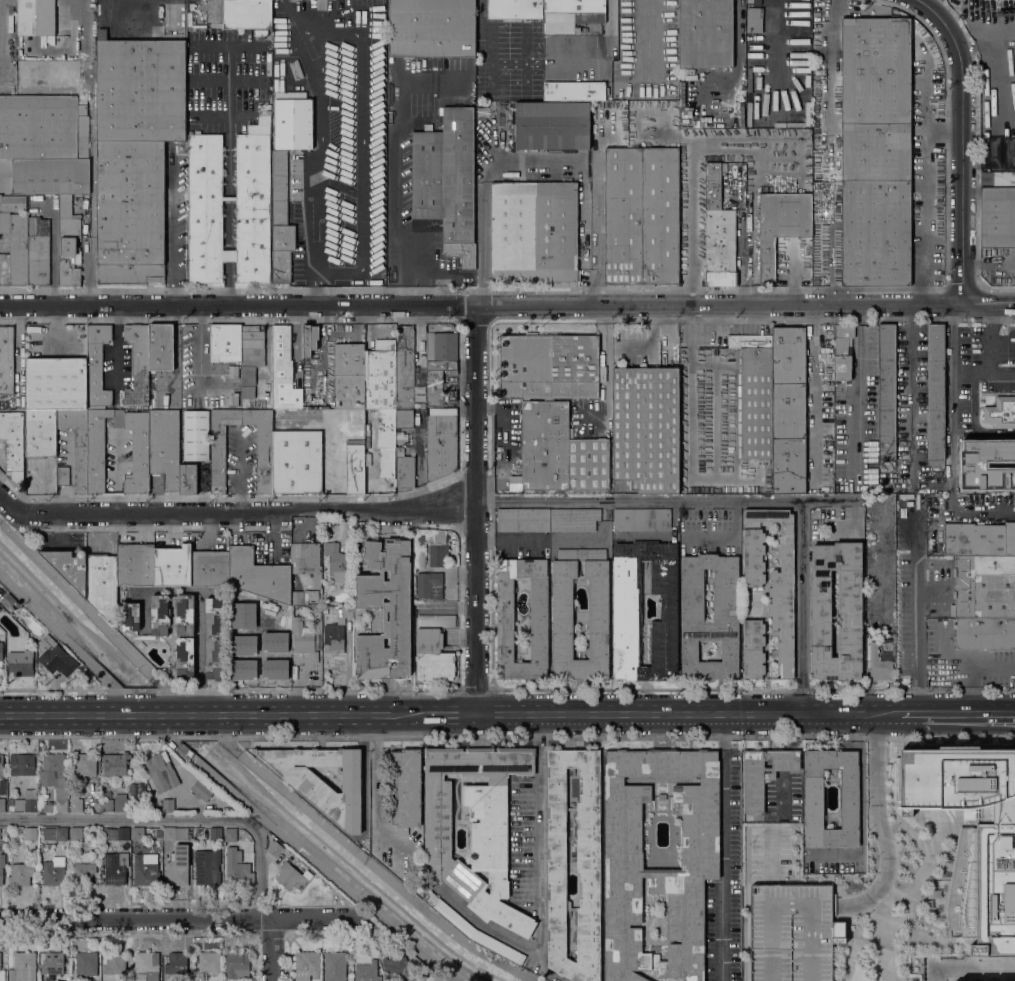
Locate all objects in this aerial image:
building: (754, 2)
building: (514, 9)
building: (247, 14)
building: (572, 15)
building: (36, 17)
building: (754, 20)
building: (431, 28)
building: (260, 32)
building: (705, 34)
road: (831, 65)
building: (294, 69)
road: (989, 87)
building: (575, 91)
building: (290, 95)
building: (293, 124)
building: (552, 125)
road: (364, 129)
building: (46, 143)
road: (960, 144)
road: (320, 145)
road: (89, 152)
building: (875, 152)
building: (135, 153)
road: (1003, 159)
road: (976, 161)
road: (530, 171)
building: (998, 179)
building: (447, 181)
building: (253, 192)
building: (12, 203)
road: (689, 209)
road: (597, 212)
building: (641, 216)
building: (998, 216)
building: (280, 220)
road: (174, 224)
building: (780, 227)
building: (535, 232)
building: (718, 233)
building: (68, 243)
building: (15, 245)
building: (38, 251)
road: (315, 288)
road: (1008, 302)
road: (981, 303)
road: (480, 304)
road: (989, 336)
building: (309, 339)
building: (226, 343)
road: (116, 345)
road: (199, 345)
building: (251, 352)
building: (843, 352)
road: (17, 353)
building: (6, 359)
building: (439, 363)
building: (137, 365)
building: (550, 366)
building: (405, 369)
road: (982, 370)
building: (283, 371)
building: (349, 376)
building: (248, 392)
building: (886, 392)
road: (998, 392)
building: (935, 393)
building: (755, 395)
building: (382, 400)
building: (72, 409)
building: (788, 410)
building: (442, 411)
building: (1001, 412)
building: (404, 419)
road: (974, 419)
building: (154, 423)
building: (645, 427)
building: (196, 435)
road: (335, 435)
building: (402, 438)
building: (13, 442)
building: (440, 446)
building: (559, 451)
building: (297, 461)
building: (264, 462)
building: (355, 469)
building: (404, 469)
road: (114, 473)
road: (240, 473)
building: (63, 475)
building: (188, 479)
road: (934, 484)
building: (967, 484)
road: (669, 498)
road: (479, 509)
road: (970, 513)
road: (235, 515)
road: (734, 517)
building: (523, 519)
building: (574, 519)
building: (642, 519)
road: (663, 536)
building: (979, 539)
road: (601, 541)
building: (432, 549)
building: (307, 561)
building: (336, 562)
building: (135, 564)
building: (172, 565)
building: (325, 565)
building: (70, 566)
building: (209, 567)
building: (258, 575)
building: (102, 584)
building: (429, 585)
building: (985, 585)
building: (781, 592)
building: (725, 595)
building: (303, 596)
building: (259, 598)
building: (9, 601)
road: (802, 605)
road: (911, 605)
building: (243, 606)
road: (447, 607)
building: (626, 607)
building: (0, 609)
building: (283, 611)
building: (385, 611)
building: (160, 612)
building: (346, 612)
building: (849, 613)
building: (130, 617)
road: (98, 619)
building: (537, 619)
building: (985, 631)
building: (562, 633)
building: (0, 637)
building: (304, 637)
building: (334, 637)
building: (214, 638)
building: (260, 645)
building: (890, 645)
road: (73, 646)
building: (433, 648)
building: (1, 650)
building: (55, 656)
building: (184, 657)
building: (21, 661)
building: (878, 664)
road: (972, 668)
road: (969, 713)
road: (557, 714)
road: (76, 717)
road: (172, 717)
building: (22, 764)
building: (85, 764)
building: (115, 764)
building: (1, 766)
building: (161, 772)
building: (955, 777)
building: (55, 779)
building: (406, 789)
building: (203, 791)
building: (318, 791)
road: (378, 795)
building: (754, 796)
building: (849, 798)
building: (25, 801)
building: (75, 803)
building: (120, 803)
building: (2, 804)
building: (166, 804)
building: (46, 805)
building: (107, 805)
road: (174, 818)
road: (880, 823)
building: (475, 827)
building: (54, 833)
building: (76, 833)
building: (117, 833)
building: (138, 833)
building: (158, 833)
building: (175, 833)
building: (215, 833)
building: (30, 834)
building: (230, 835)
road: (724, 847)
building: (274, 848)
road: (302, 850)
road: (540, 853)
road: (362, 857)
building: (26, 860)
building: (624, 860)
building: (587, 864)
building: (1, 866)
building: (178, 866)
building: (207, 866)
building: (115, 868)
building: (237, 868)
building: (146, 869)
building: (53, 871)
building: (21, 873)
building: (83, 873)
building: (291, 877)
building: (984, 890)
road: (174, 917)
road: (482, 927)
building: (472, 929)
building: (791, 932)
road: (272, 948)
building: (178, 963)
building: (85, 964)
building: (208, 964)
building: (237, 964)
building: (51, 965)
building: (113, 965)
building: (146, 966)
building: (306, 966)
building: (335, 966)
building: (23, 967)
building: (398, 968)
road: (972, 968)
building: (367, 972)
building: (2, 975)

